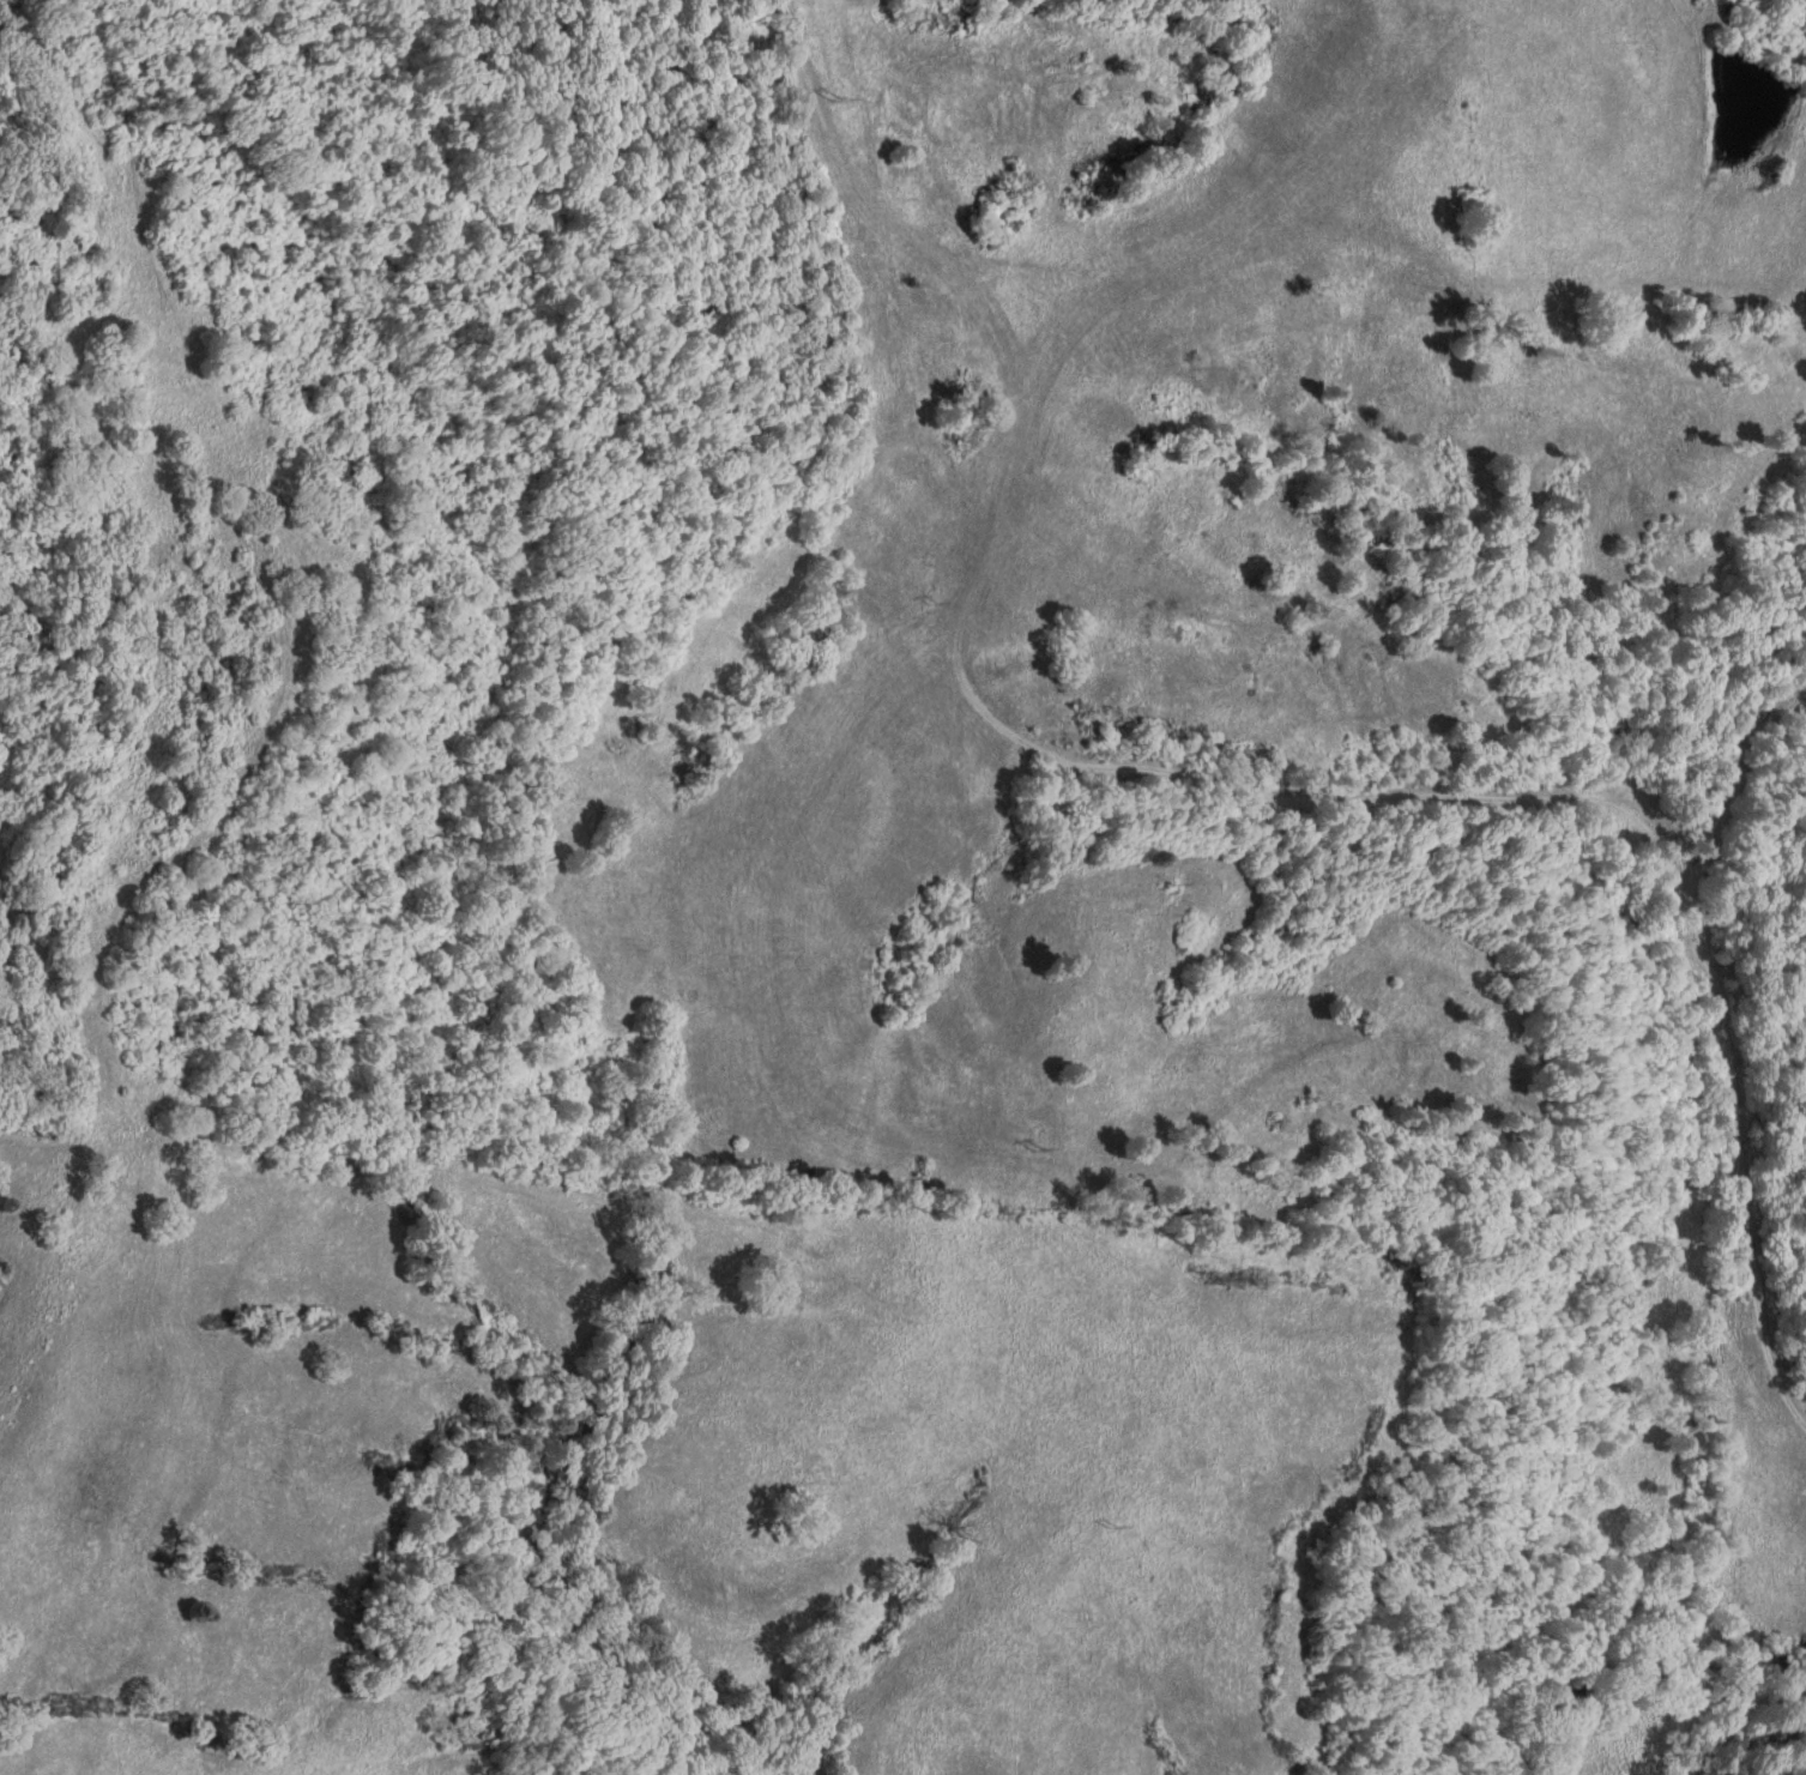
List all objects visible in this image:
road: (1754, 1711)

